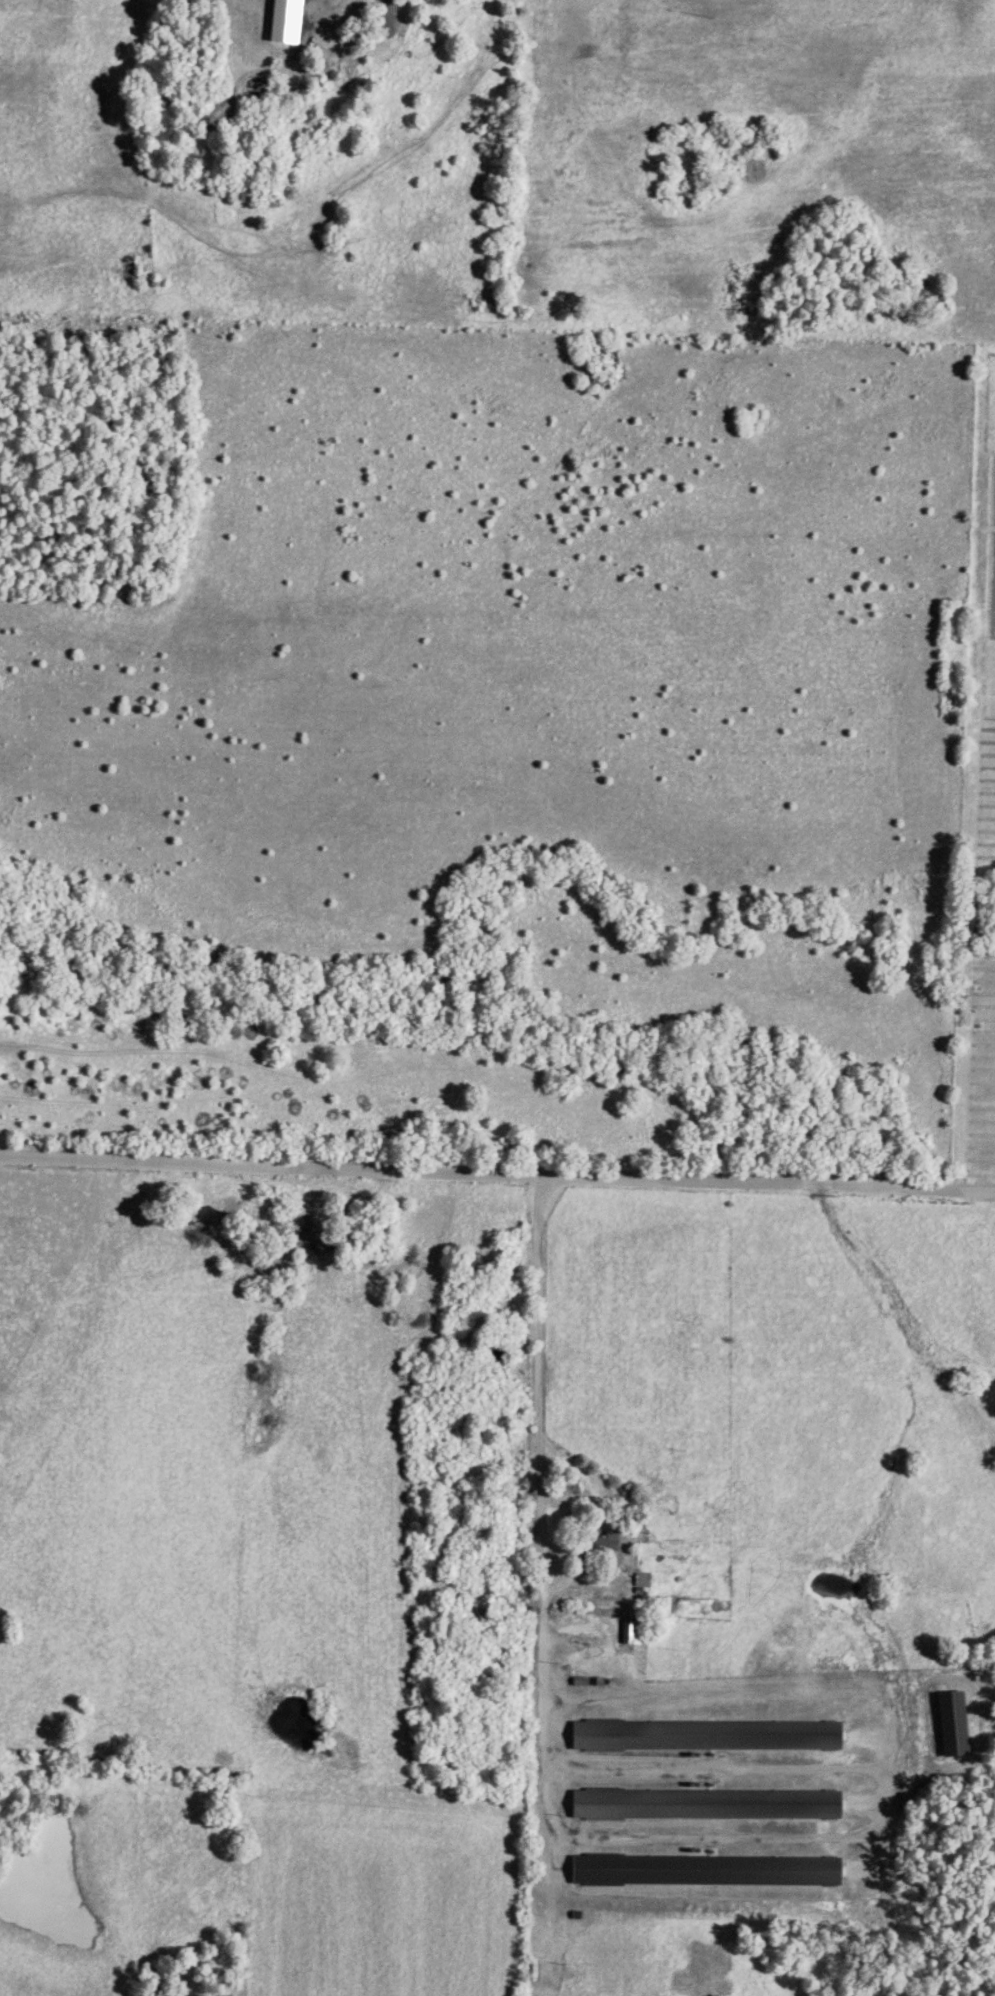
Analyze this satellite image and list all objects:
road: (497, 1176)
road: (537, 1449)
building: (599, 1550)
building: (660, 1608)
building: (702, 1737)
building: (702, 1806)
building: (686, 1898)

